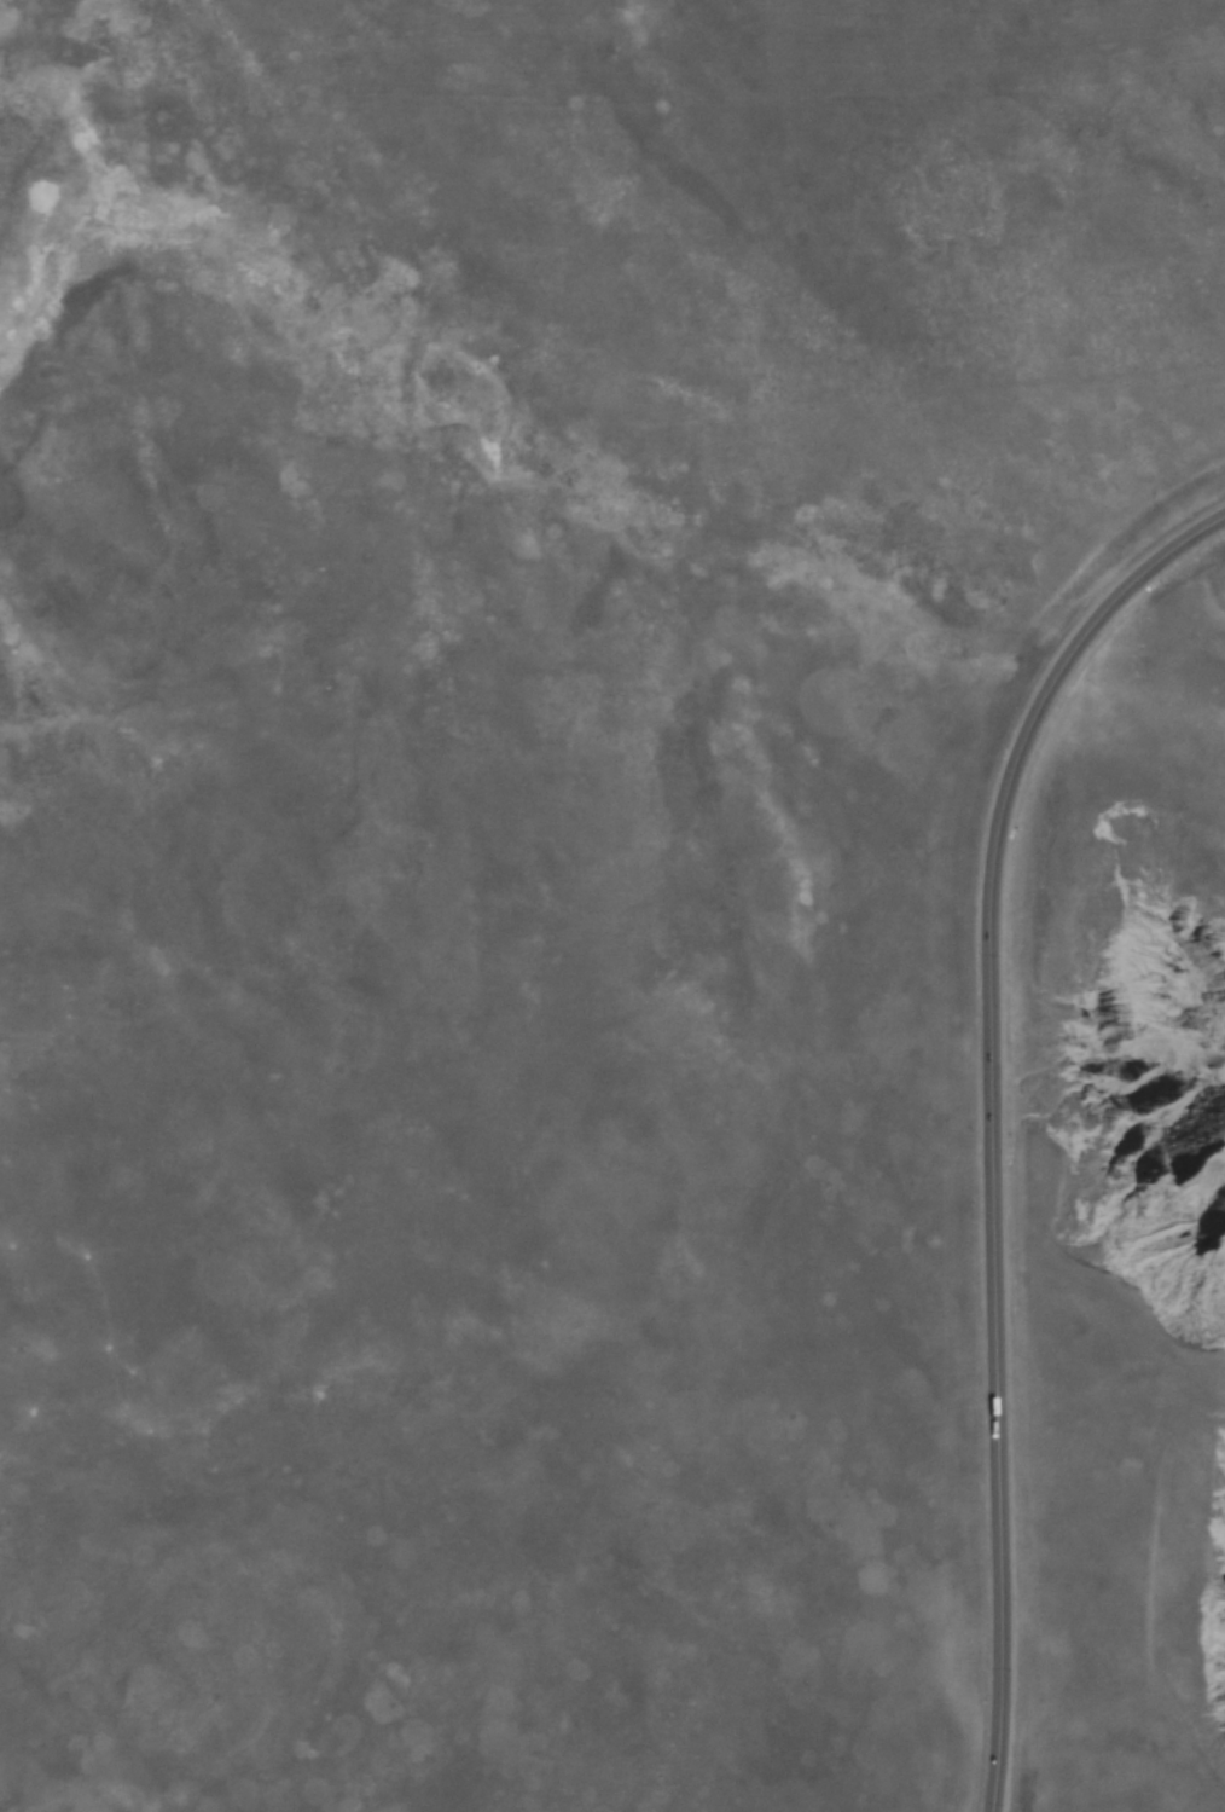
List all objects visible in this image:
road: (986, 1112)

